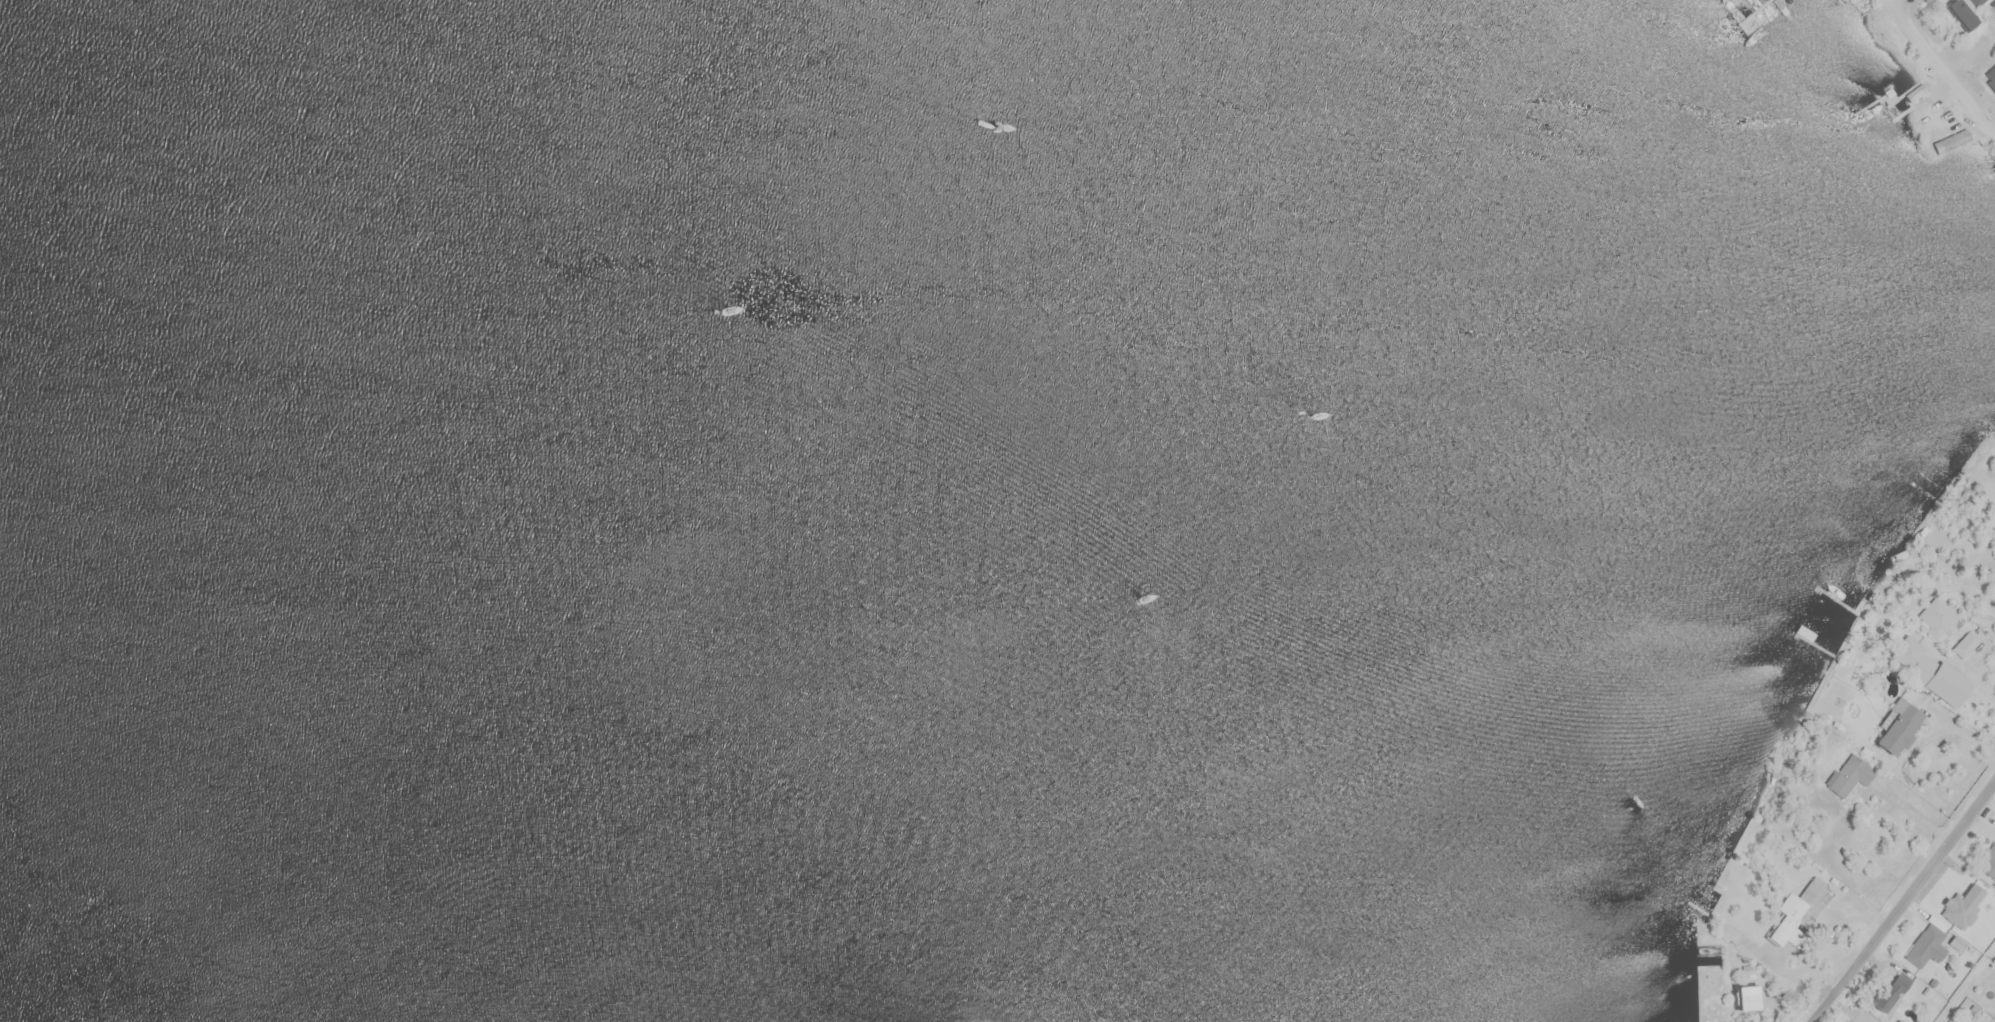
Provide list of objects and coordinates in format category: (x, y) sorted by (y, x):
building: (1975, 3)
building: (1962, 14)
road: (1942, 66)
building: (1990, 79)
building: (1913, 94)
building: (1952, 141)
building: (1938, 615)
building: (1966, 643)
building: (1930, 670)
road: (1967, 671)
building: (1898, 727)
building: (1849, 775)
building: (1989, 861)
road: (1905, 902)
building: (1799, 909)
building: (1927, 947)
building: (1746, 997)
building: (1884, 999)
building: (1848, 1021)

